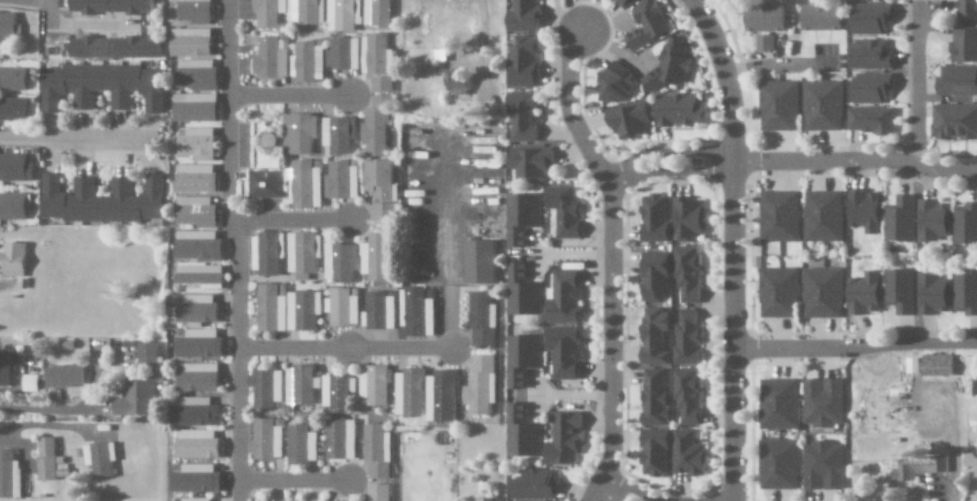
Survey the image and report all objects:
building: (868, 0)
road: (35, 1)
building: (622, 4)
building: (114, 7)
building: (966, 11)
building: (196, 12)
building: (308, 12)
road: (47, 13)
building: (270, 13)
building: (379, 13)
building: (343, 16)
building: (520, 17)
building: (761, 18)
building: (817, 19)
building: (869, 19)
building: (644, 25)
building: (8, 27)
building: (192, 43)
building: (762, 44)
building: (962, 47)
building: (117, 48)
building: (379, 55)
building: (867, 56)
building: (273, 57)
building: (311, 61)
building: (520, 63)
building: (666, 67)
building: (198, 75)
building: (13, 79)
building: (452, 80)
building: (955, 82)
road: (914, 83)
building: (383, 85)
building: (613, 85)
building: (103, 87)
building: (869, 88)
road: (287, 95)
building: (777, 106)
building: (821, 106)
building: (14, 110)
building: (677, 112)
building: (520, 116)
building: (869, 121)
building: (626, 122)
building: (953, 123)
building: (196, 126)
building: (378, 128)
building: (302, 133)
building: (339, 136)
road: (790, 161)
building: (528, 164)
building: (15, 169)
building: (197, 179)
building: (382, 180)
building: (343, 181)
building: (307, 184)
building: (266, 185)
building: (104, 201)
building: (13, 206)
building: (562, 211)
building: (863, 211)
building: (197, 212)
building: (386, 212)
building: (777, 217)
building: (822, 217)
building: (520, 218)
building: (652, 219)
building: (686, 219)
road: (288, 221)
building: (898, 221)
building: (931, 221)
building: (965, 225)
building: (199, 246)
road: (731, 246)
road: (230, 250)
building: (268, 254)
building: (303, 255)
building: (378, 259)
building: (15, 260)
building: (341, 262)
building: (476, 263)
road: (609, 265)
building: (685, 274)
building: (202, 276)
building: (651, 278)
building: (898, 291)
building: (520, 293)
building: (777, 293)
building: (821, 294)
building: (964, 294)
building: (862, 295)
building: (931, 296)
building: (562, 299)
building: (274, 308)
building: (344, 308)
building: (200, 310)
building: (305, 311)
building: (381, 311)
building: (419, 312)
building: (480, 321)
building: (651, 336)
building: (684, 338)
building: (201, 345)
road: (855, 345)
road: (343, 348)
building: (562, 352)
building: (149, 355)
building: (520, 360)
building: (933, 365)
building: (910, 366)
building: (8, 368)
building: (974, 369)
building: (66, 375)
building: (200, 378)
building: (32, 384)
building: (376, 385)
building: (302, 386)
building: (479, 386)
building: (268, 388)
building: (339, 393)
building: (411, 393)
building: (685, 396)
building: (441, 397)
building: (137, 398)
building: (652, 398)
building: (820, 403)
building: (777, 405)
building: (198, 413)
building: (520, 434)
building: (269, 440)
building: (342, 440)
building: (561, 440)
building: (304, 444)
building: (199, 445)
road: (952, 447)
building: (379, 452)
building: (651, 453)
building: (686, 455)
building: (101, 458)
building: (47, 459)
building: (970, 464)
building: (776, 465)
building: (821, 467)
building: (916, 469)
building: (8, 476)
building: (199, 479)
road: (292, 481)
building: (531, 486)
road: (615, 491)
building: (381, 492)
building: (197, 499)
building: (486, 499)

